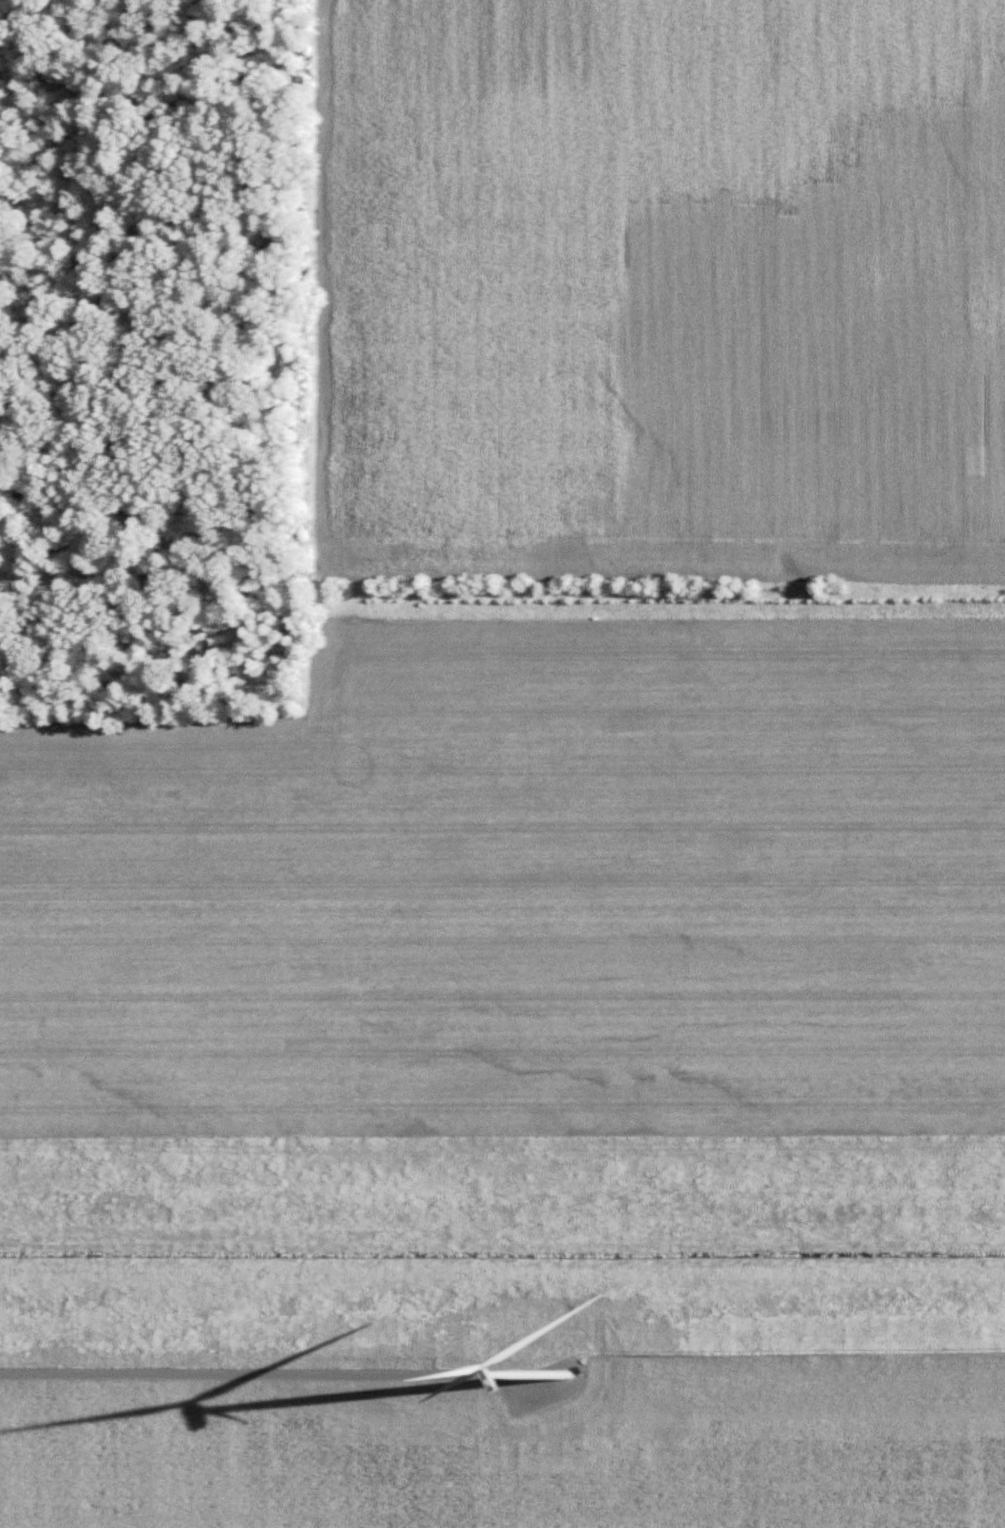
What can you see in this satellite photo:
wind turbine: (552, 1355)
road: (248, 1381)

